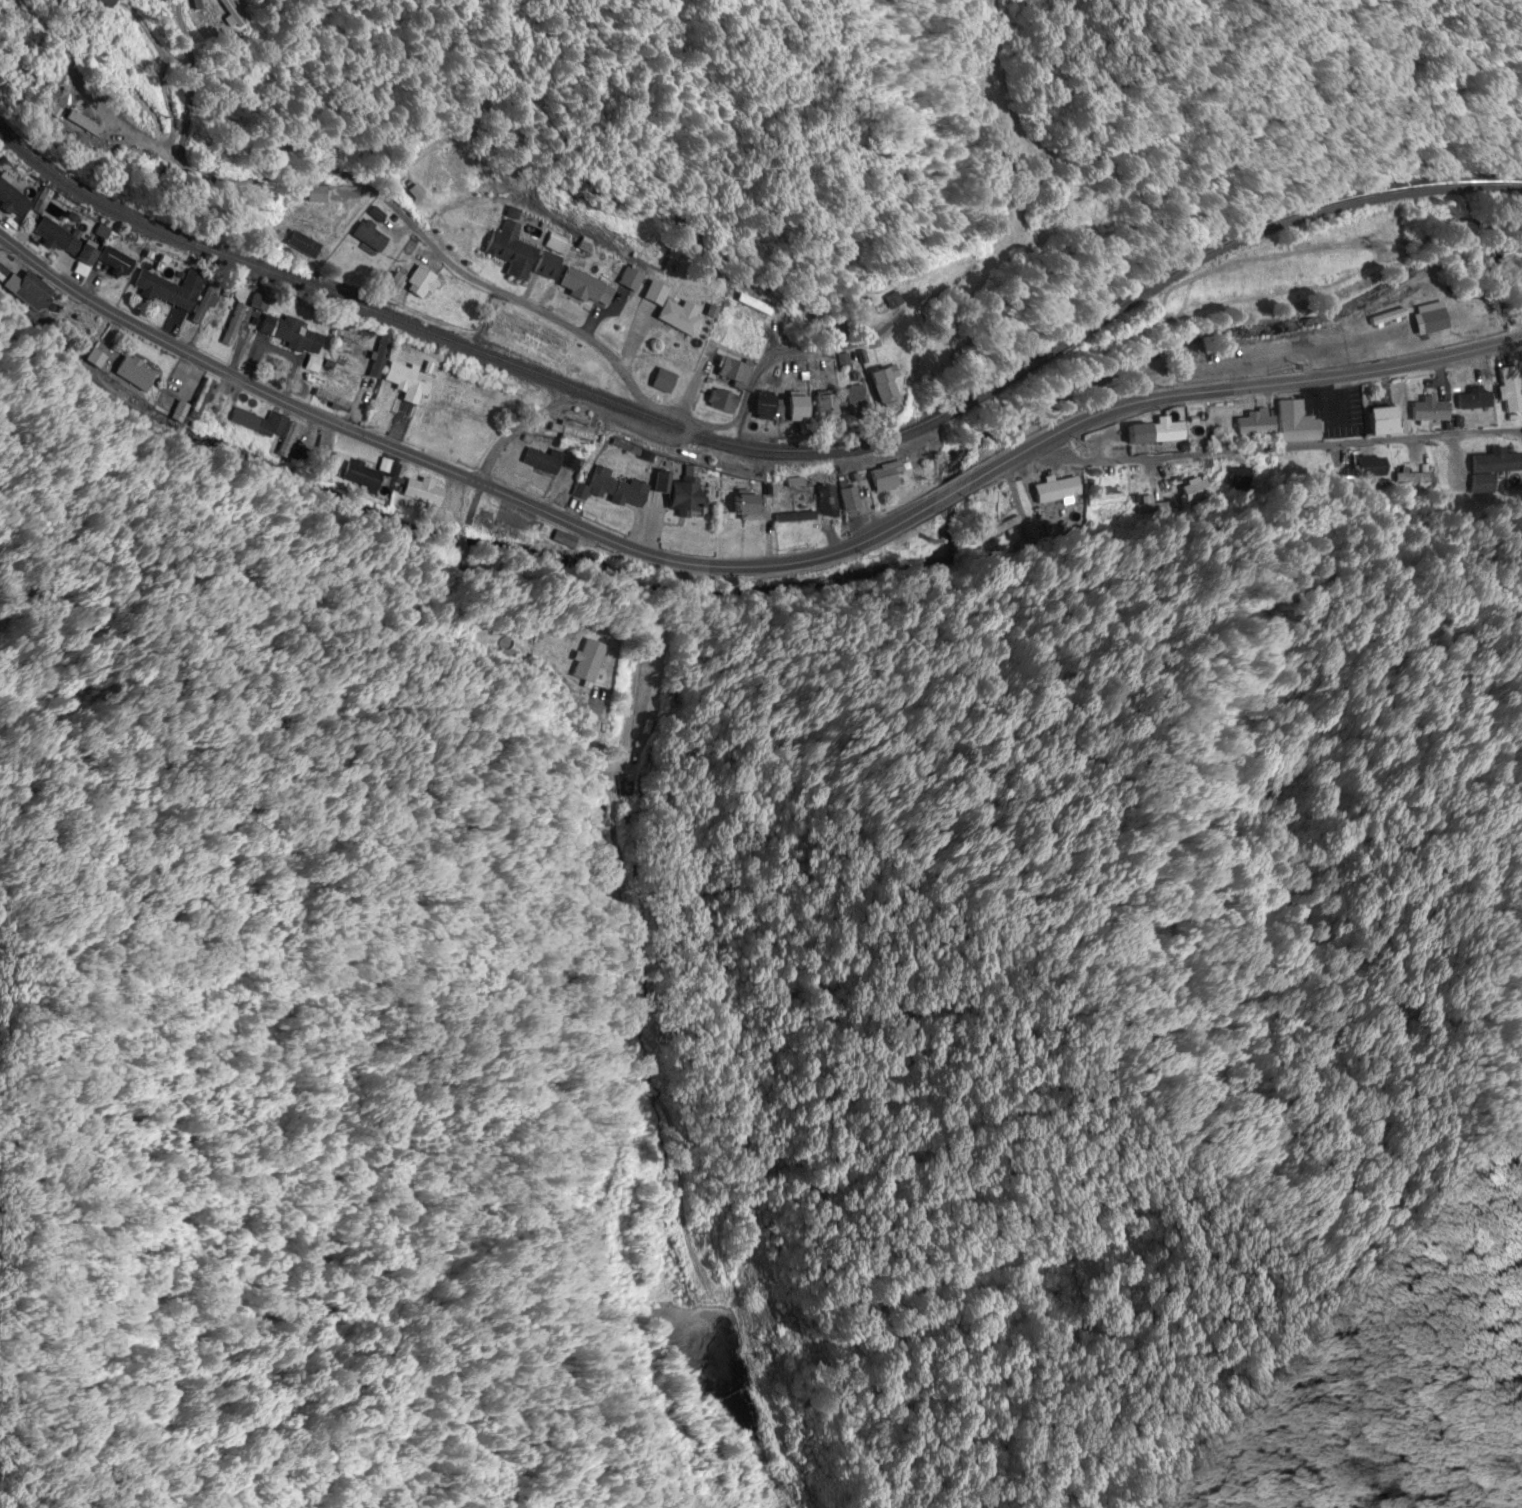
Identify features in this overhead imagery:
building: (8, 0)
building: (106, 3)
building: (193, 5)
building: (230, 14)
road: (157, 77)
road: (190, 80)
building: (77, 123)
road: (373, 157)
road: (340, 184)
building: (413, 191)
building: (316, 194)
building: (12, 196)
building: (308, 218)
building: (367, 236)
building: (60, 242)
building: (553, 243)
building: (516, 255)
building: (112, 262)
road: (454, 265)
building: (628, 279)
building: (418, 283)
building: (390, 285)
building: (582, 287)
building: (24, 289)
building: (165, 289)
building: (889, 300)
building: (669, 310)
building: (1430, 321)
building: (287, 333)
building: (741, 341)
building: (92, 359)
road: (764, 366)
building: (308, 369)
building: (131, 372)
building: (728, 372)
building: (659, 380)
building: (401, 382)
building: (877, 385)
road: (1246, 387)
building: (1508, 389)
building: (199, 399)
building: (466, 399)
building: (1472, 399)
building: (849, 400)
building: (717, 401)
building: (819, 405)
building: (773, 407)
building: (1426, 410)
building: (179, 412)
building: (1342, 415)
building: (1378, 421)
building: (257, 423)
building: (1293, 423)
building: (1254, 424)
building: (1152, 432)
building: (289, 440)
railway: (759, 448)
road: (1276, 450)
building: (539, 460)
building: (567, 461)
building: (1495, 462)
road: (444, 469)
building: (363, 474)
building: (882, 476)
building: (614, 488)
building: (1057, 490)
building: (419, 491)
building: (677, 492)
road: (950, 492)
building: (823, 498)
building: (845, 498)
building: (744, 507)
road: (613, 555)
road: (631, 590)
building: (582, 661)
road: (638, 676)
quarry: (715, 1382)

